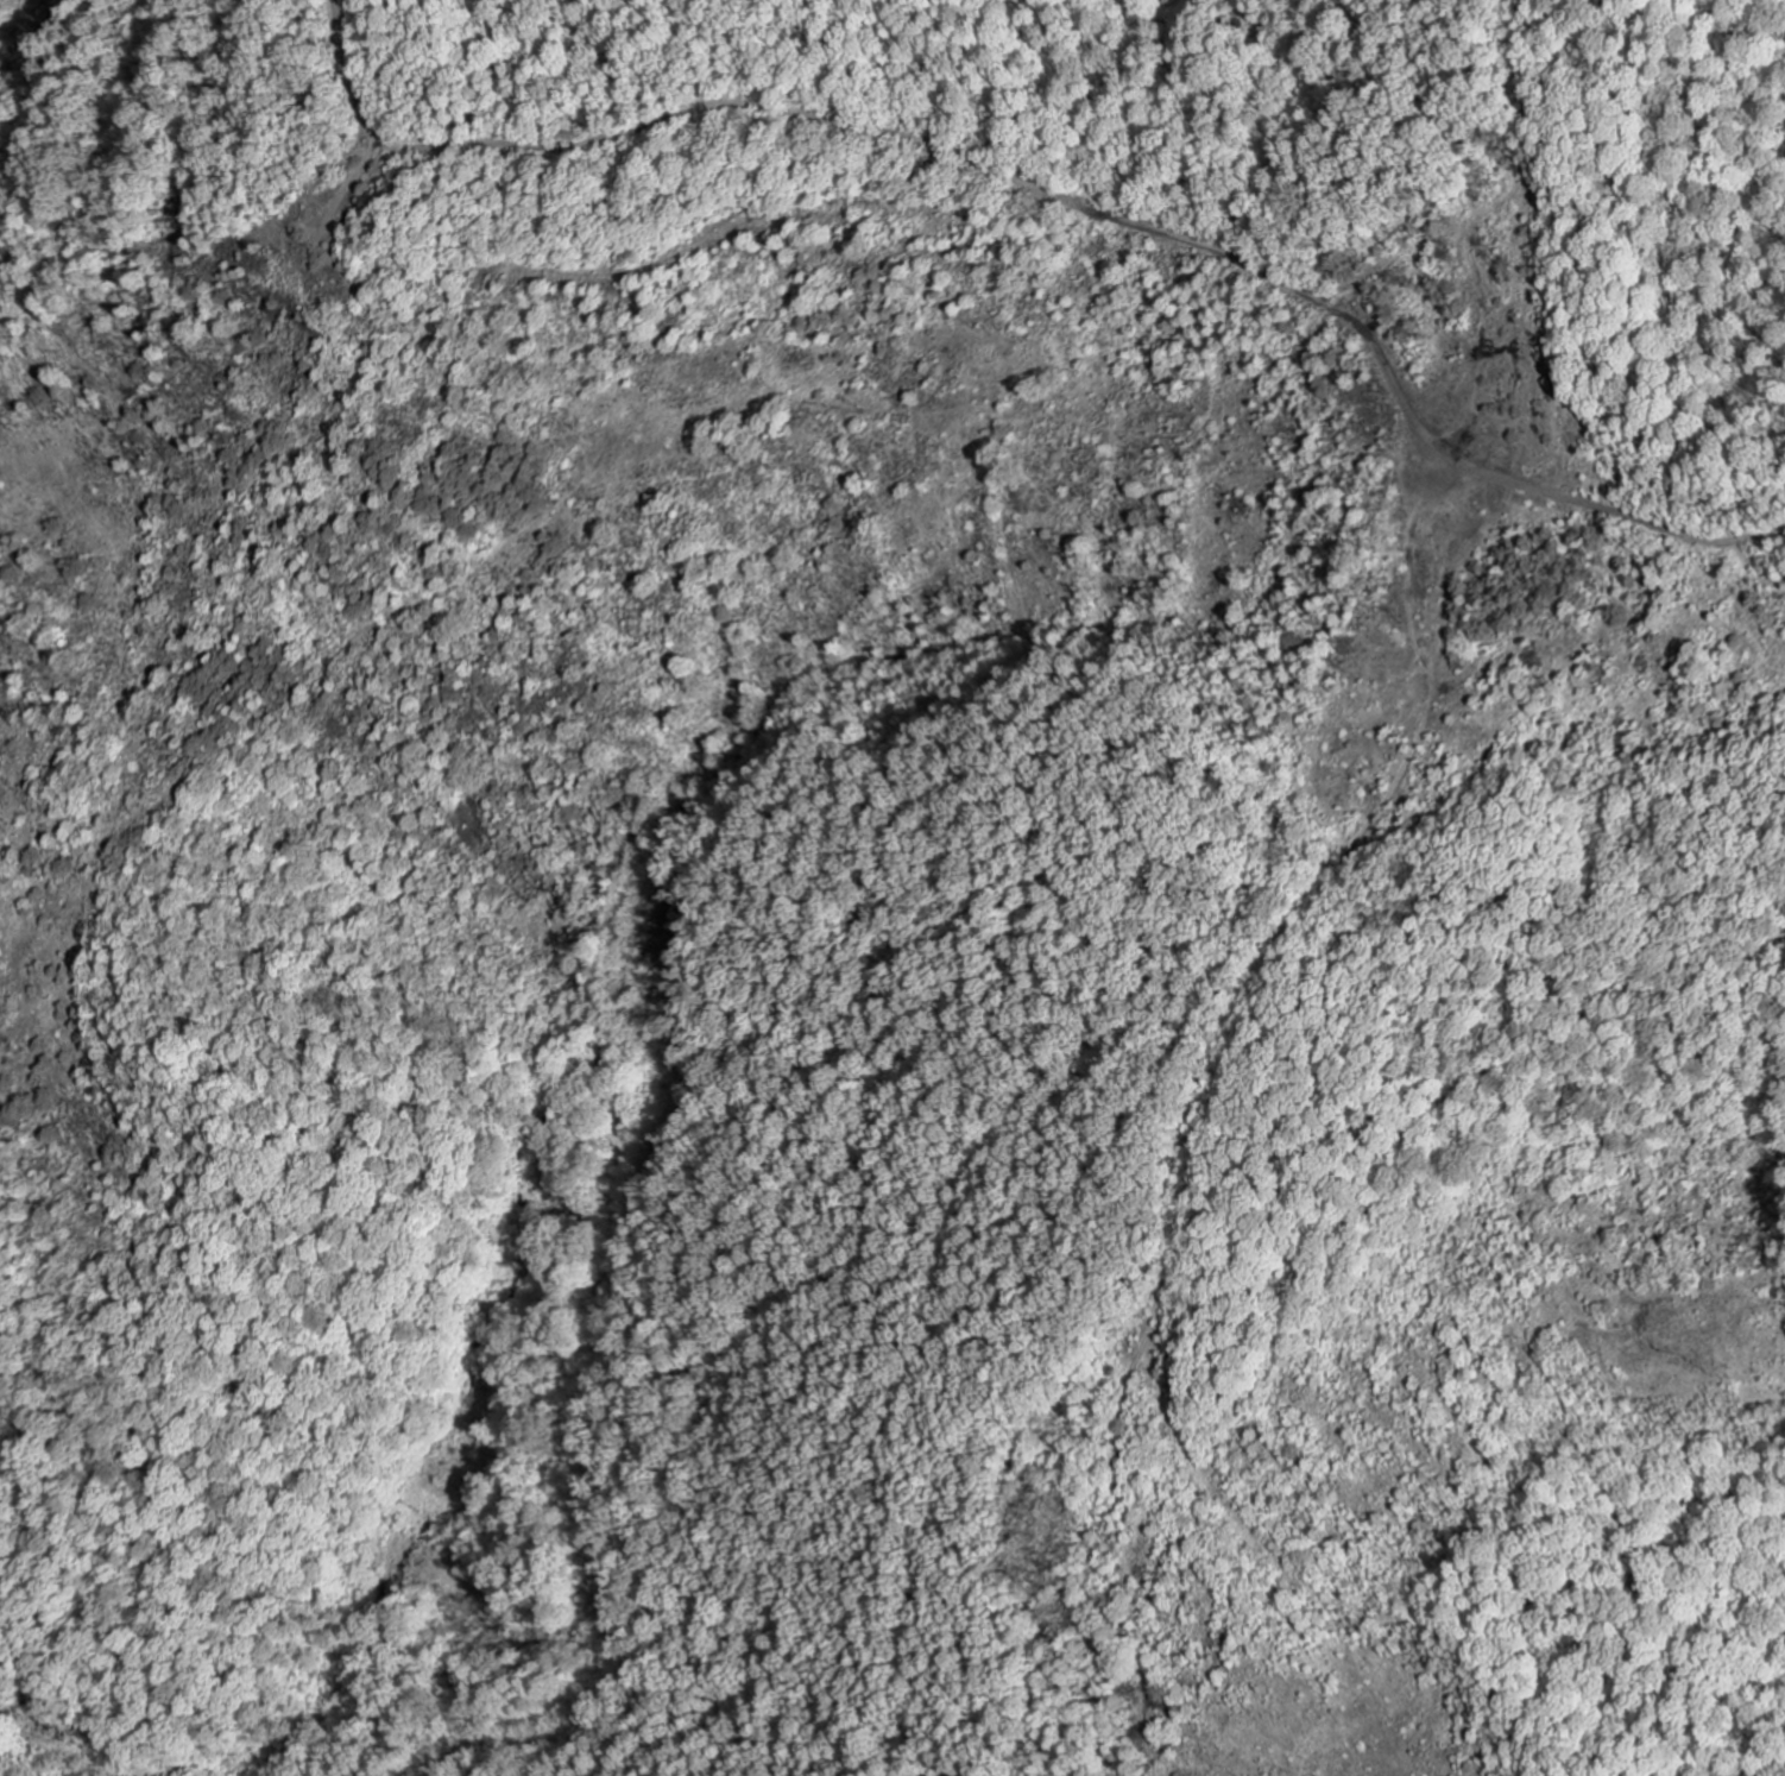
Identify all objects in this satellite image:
road: (1054, 197)

